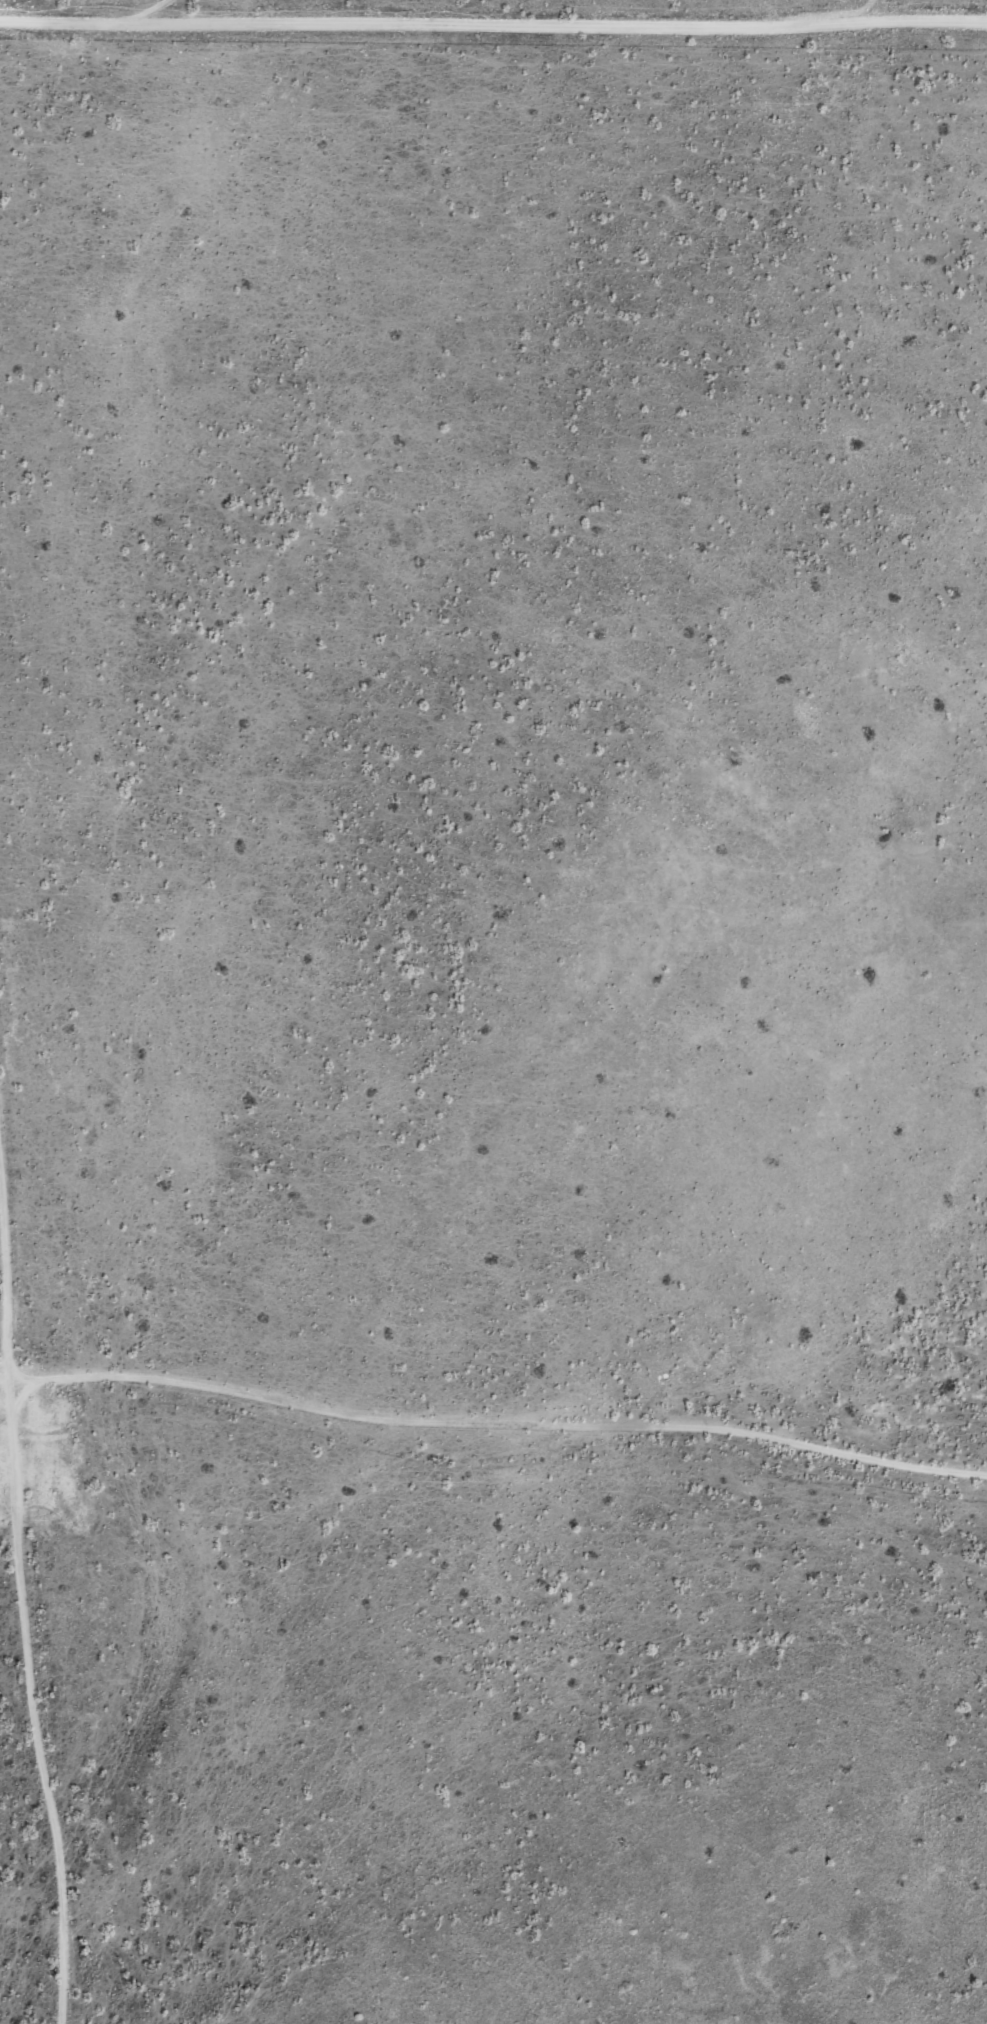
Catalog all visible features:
road: (19, 1478)
road: (489, 1478)

